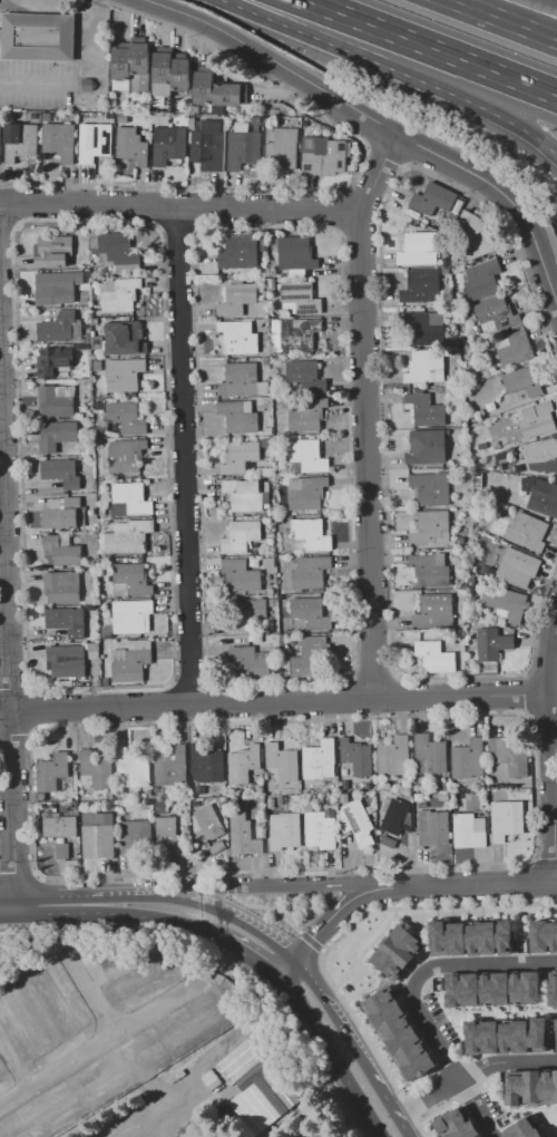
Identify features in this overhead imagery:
road: (549, 1)
road: (504, 19)
building: (38, 37)
road: (431, 46)
road: (273, 60)
building: (121, 64)
building: (139, 67)
road: (398, 70)
building: (163, 74)
building: (180, 76)
road: (31, 82)
building: (87, 85)
building: (203, 87)
building: (226, 94)
building: (217, 109)
building: (46, 117)
building: (105, 117)
building: (123, 119)
building: (256, 122)
building: (266, 122)
building: (193, 124)
building: (304, 125)
building: (304, 130)
building: (60, 140)
building: (19, 142)
building: (94, 142)
building: (168, 144)
building: (131, 146)
building: (208, 146)
building: (282, 147)
building: (243, 149)
building: (323, 155)
building: (349, 168)
road: (378, 174)
road: (507, 196)
building: (433, 201)
road: (178, 208)
building: (475, 235)
building: (419, 249)
building: (53, 251)
building: (119, 251)
building: (238, 253)
building: (296, 254)
building: (447, 262)
building: (446, 272)
building: (482, 280)
building: (59, 284)
building: (421, 286)
building: (120, 295)
building: (301, 298)
building: (236, 299)
building: (470, 313)
building: (497, 313)
building: (94, 321)
building: (422, 327)
building: (59, 328)
building: (477, 330)
building: (297, 334)
building: (87, 338)
building: (240, 338)
building: (121, 340)
building: (97, 341)
building: (515, 349)
building: (450, 351)
building: (51, 361)
building: (97, 366)
building: (424, 367)
building: (124, 375)
building: (306, 377)
building: (240, 380)
building: (522, 380)
building: (458, 398)
building: (55, 401)
building: (98, 405)
building: (494, 405)
building: (424, 410)
building: (307, 414)
building: (238, 417)
building: (126, 418)
building: (537, 419)
building: (268, 430)
building: (57, 435)
building: (99, 441)
building: (426, 447)
building: (125, 454)
building: (307, 455)
road: (367, 456)
building: (541, 456)
road: (184, 457)
building: (241, 457)
building: (61, 472)
building: (478, 483)
building: (430, 488)
building: (309, 494)
building: (248, 496)
building: (543, 497)
building: (133, 498)
building: (102, 512)
building: (271, 512)
building: (63, 514)
building: (431, 527)
building: (528, 532)
building: (272, 534)
building: (311, 534)
building: (128, 536)
building: (240, 536)
building: (459, 540)
building: (60, 552)
building: (518, 567)
building: (429, 570)
building: (311, 572)
building: (241, 574)
building: (131, 581)
building: (61, 586)
building: (284, 596)
building: (505, 602)
building: (90, 608)
building: (273, 608)
building: (433, 611)
building: (248, 612)
building: (311, 613)
building: (131, 615)
building: (67, 621)
building: (107, 632)
building: (283, 639)
building: (492, 643)
building: (92, 647)
building: (436, 657)
building: (311, 658)
building: (66, 660)
building: (130, 661)
building: (248, 662)
road: (7, 667)
building: (98, 682)
building: (105, 682)
road: (461, 698)
road: (187, 706)
building: (429, 755)
building: (393, 756)
building: (509, 756)
building: (356, 757)
building: (468, 759)
building: (319, 760)
road: (548, 760)
building: (206, 762)
building: (280, 762)
building: (243, 764)
building: (169, 766)
building: (133, 768)
building: (95, 770)
building: (51, 771)
building: (345, 785)
building: (447, 786)
building: (500, 790)
building: (148, 793)
building: (514, 793)
building: (109, 794)
building: (443, 795)
building: (42, 796)
building: (119, 797)
building: (418, 797)
building: (343, 798)
building: (280, 800)
building: (147, 801)
building: (196, 803)
building: (272, 803)
building: (110, 804)
building: (160, 804)
building: (395, 817)
building: (506, 819)
building: (208, 822)
building: (356, 822)
building: (58, 827)
building: (319, 827)
building: (432, 827)
building: (284, 830)
building: (469, 830)
building: (98, 835)
building: (244, 835)
building: (169, 836)
building: (135, 837)
building: (215, 846)
building: (62, 851)
road: (556, 882)
road: (280, 884)
road: (475, 885)
road: (189, 902)
road: (43, 906)
road: (7, 907)
road: (335, 911)
road: (519, 911)
road: (149, 919)
building: (544, 935)
building: (470, 937)
road: (368, 947)
building: (398, 952)
road: (252, 954)
road: (481, 962)
road: (284, 966)
road: (305, 978)
building: (492, 989)
building: (154, 991)
building: (554, 991)
road: (98, 1002)
building: (66, 1004)
road: (489, 1012)
building: (22, 1027)
building: (196, 1030)
building: (556, 1033)
building: (399, 1034)
building: (506, 1034)
road: (459, 1038)
road: (351, 1044)
road: (330, 1053)
road: (102, 1056)
road: (446, 1059)
road: (17, 1068)
road: (472, 1071)
building: (2, 1072)
building: (123, 1073)
building: (531, 1087)
road: (444, 1105)
road: (512, 1109)
road: (397, 1114)
building: (47, 1118)
park: (550, 1120)
building: (457, 1124)
road: (543, 1124)
building: (527, 1127)

